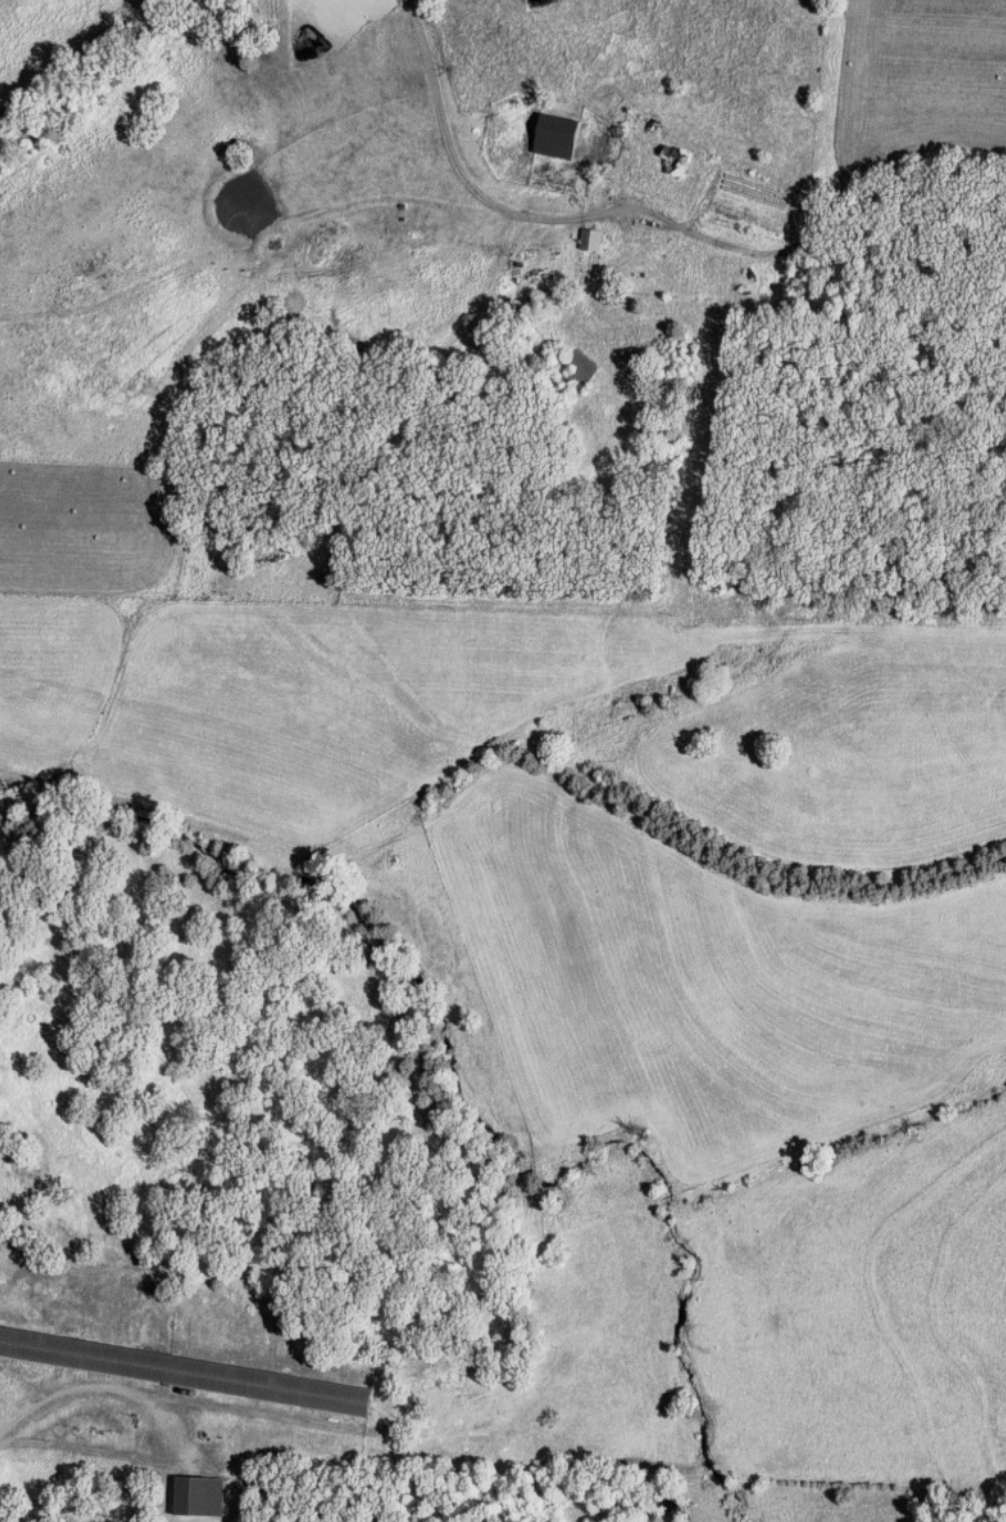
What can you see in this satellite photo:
building: (559, 137)
building: (679, 159)
building: (594, 240)
building: (186, 1371)
road: (168, 1428)
building: (201, 1497)

